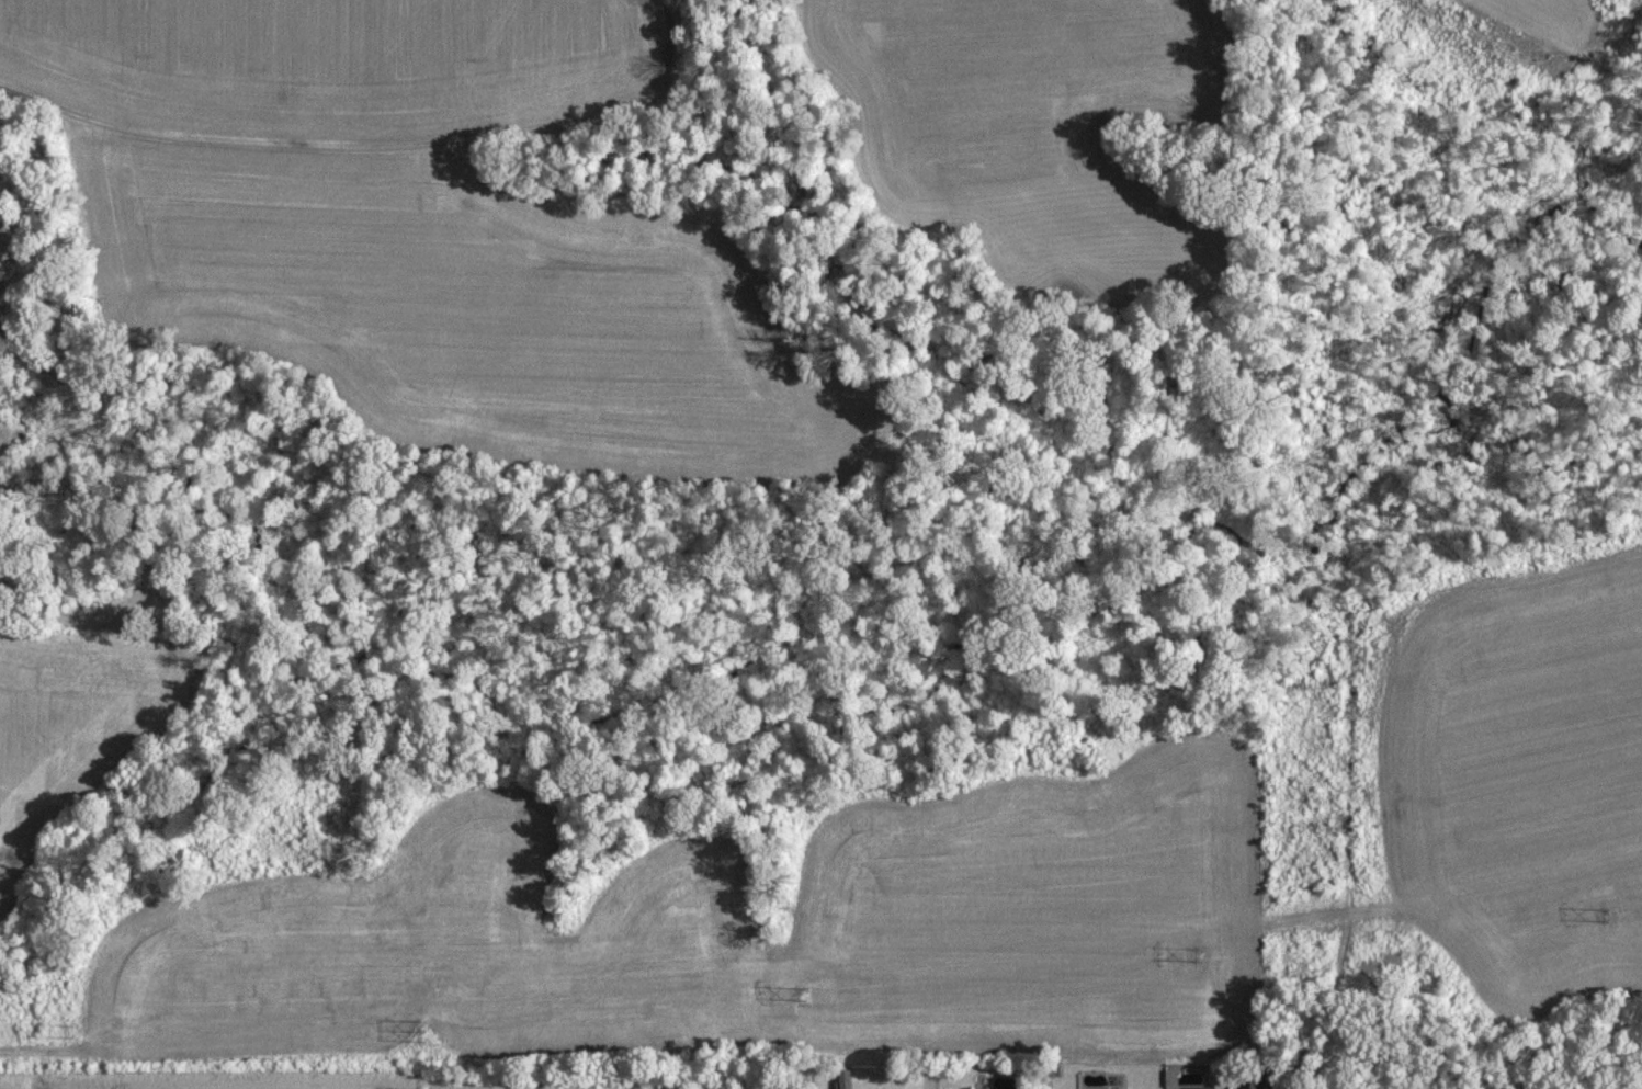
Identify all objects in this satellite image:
building: (846, 1078)
building: (905, 1088)

